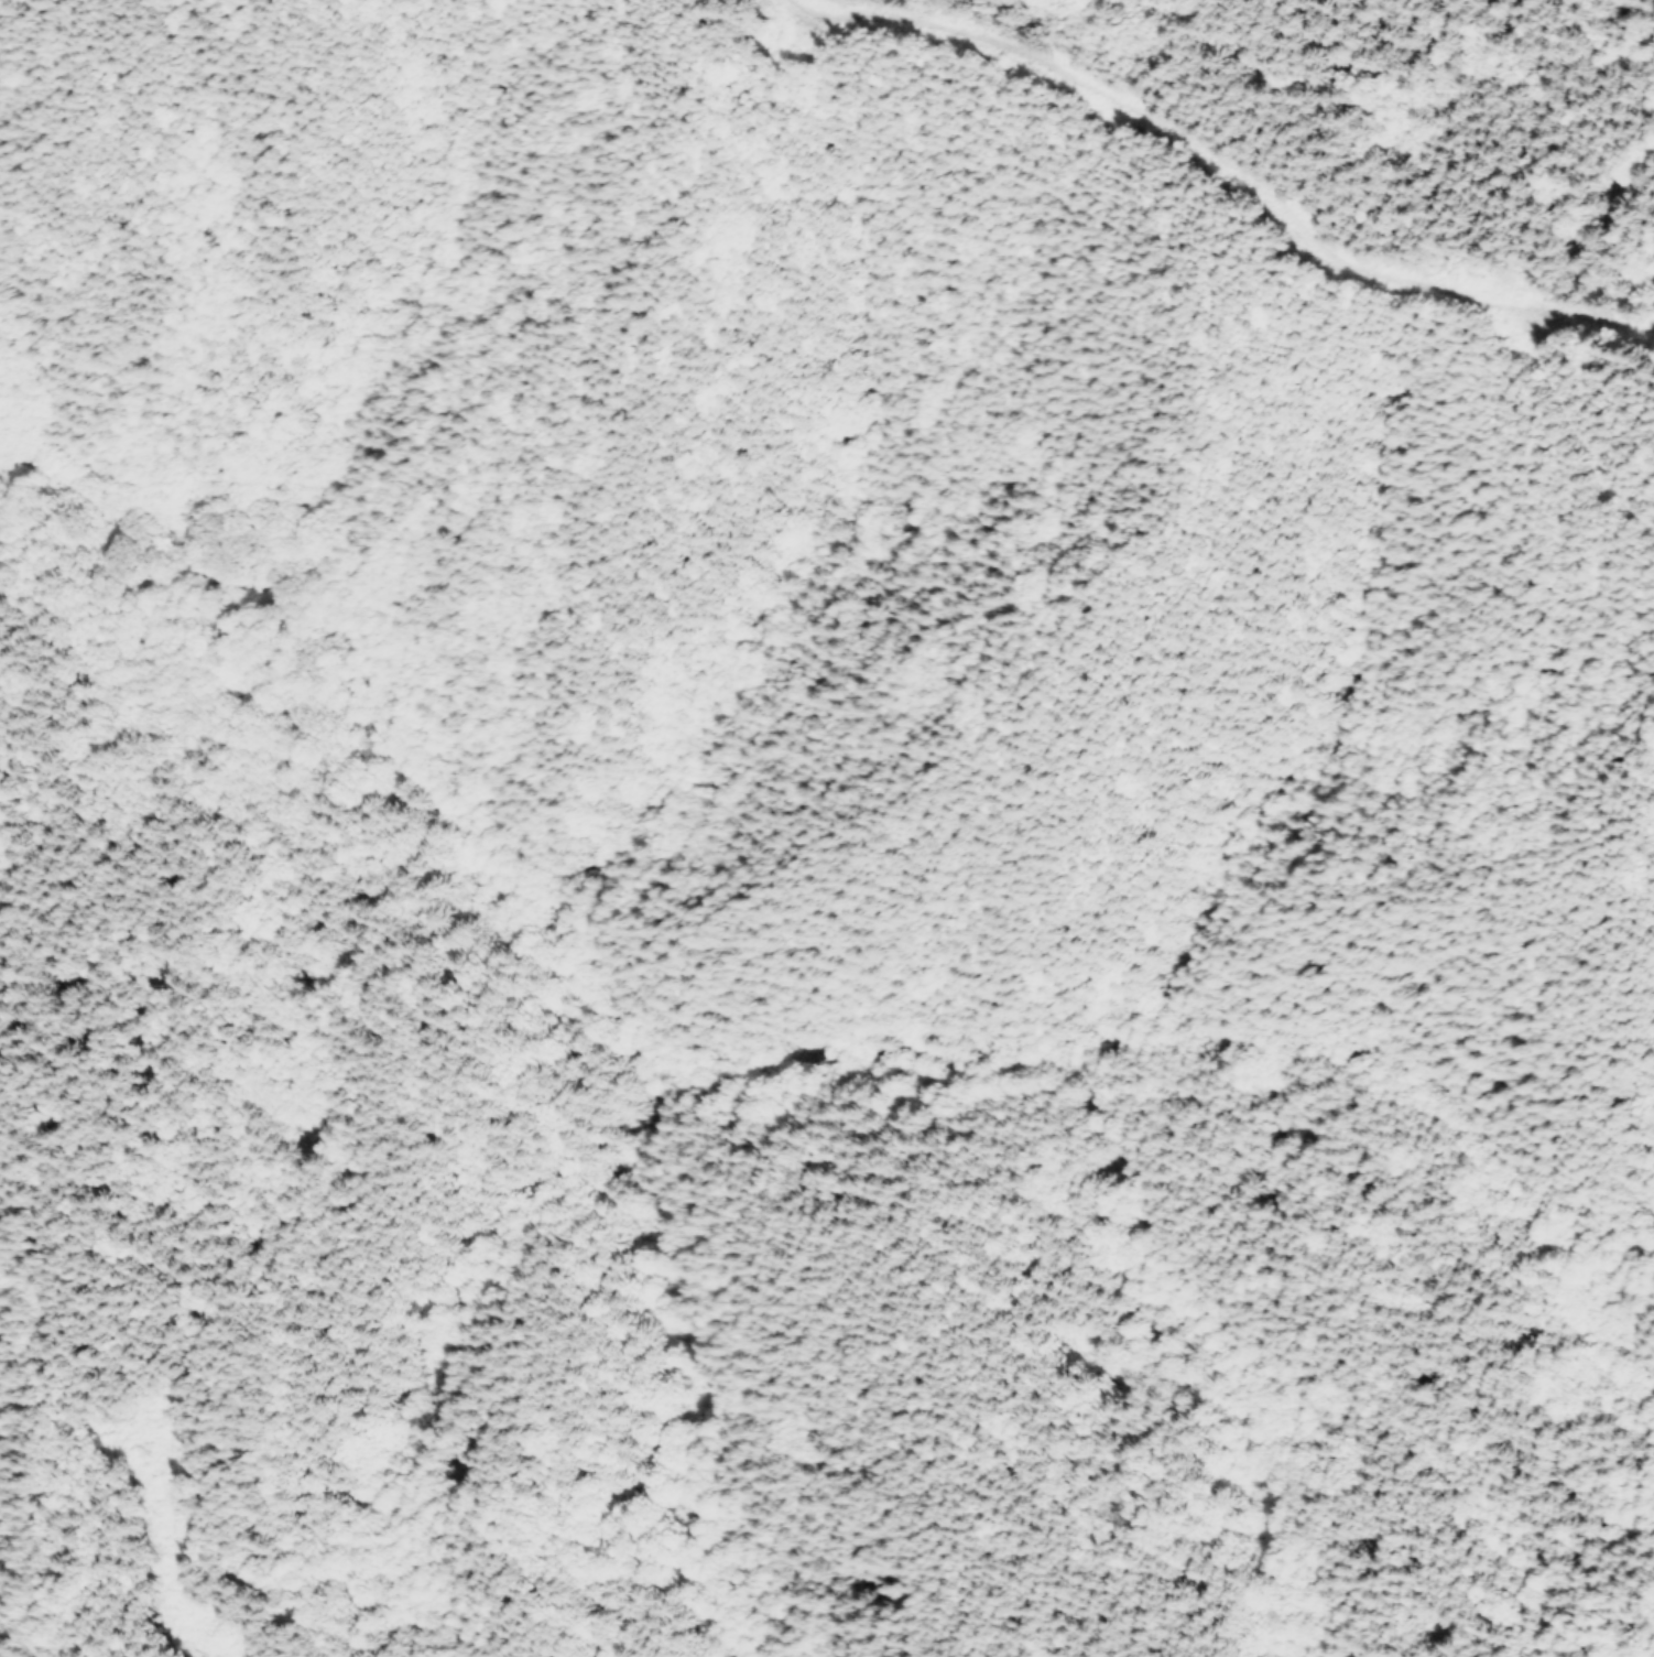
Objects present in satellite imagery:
road: (1346, 178)
road: (176, 1537)

